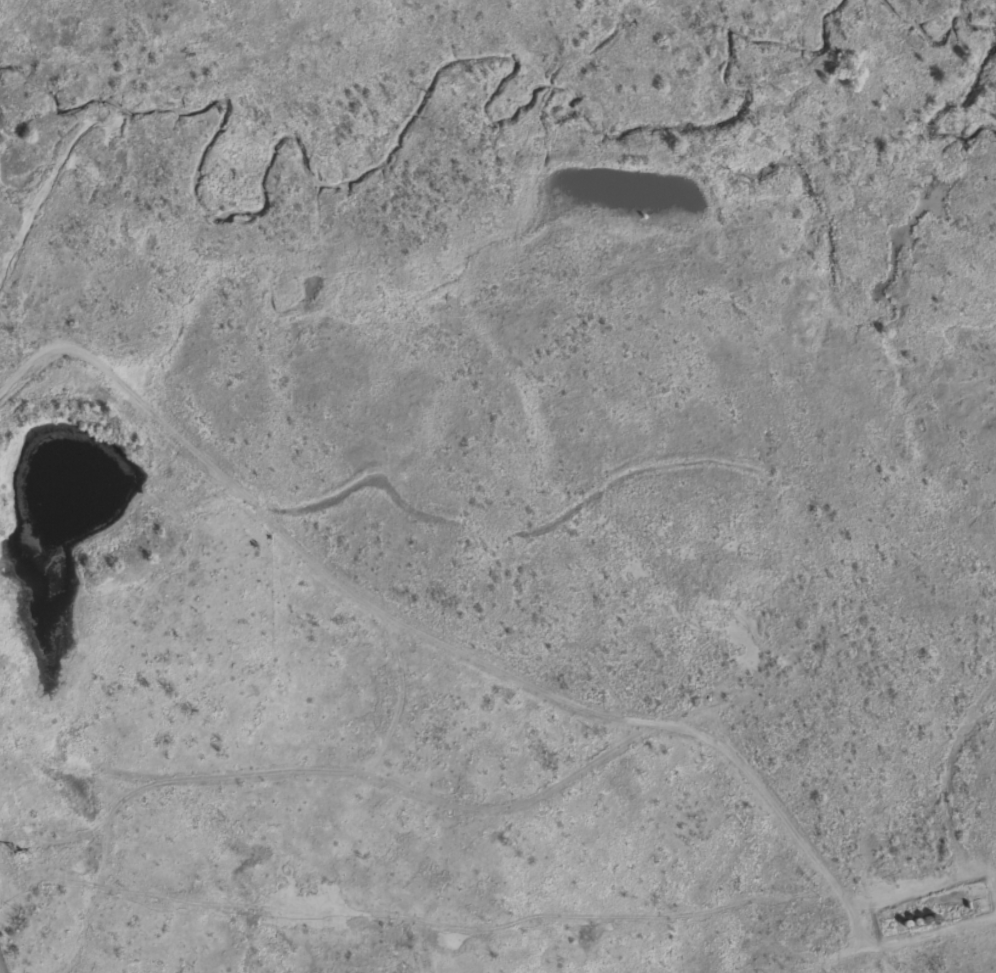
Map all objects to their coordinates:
road: (69, 167)
road: (452, 790)
road: (10, 802)
road: (50, 808)

